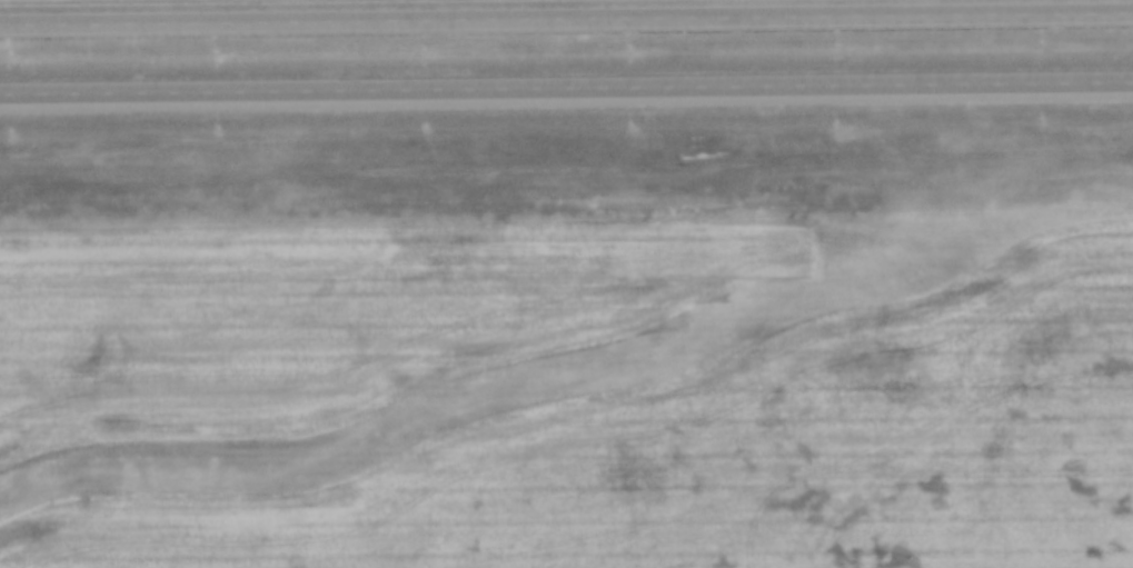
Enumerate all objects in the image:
road: (566, 13)
road: (566, 86)

